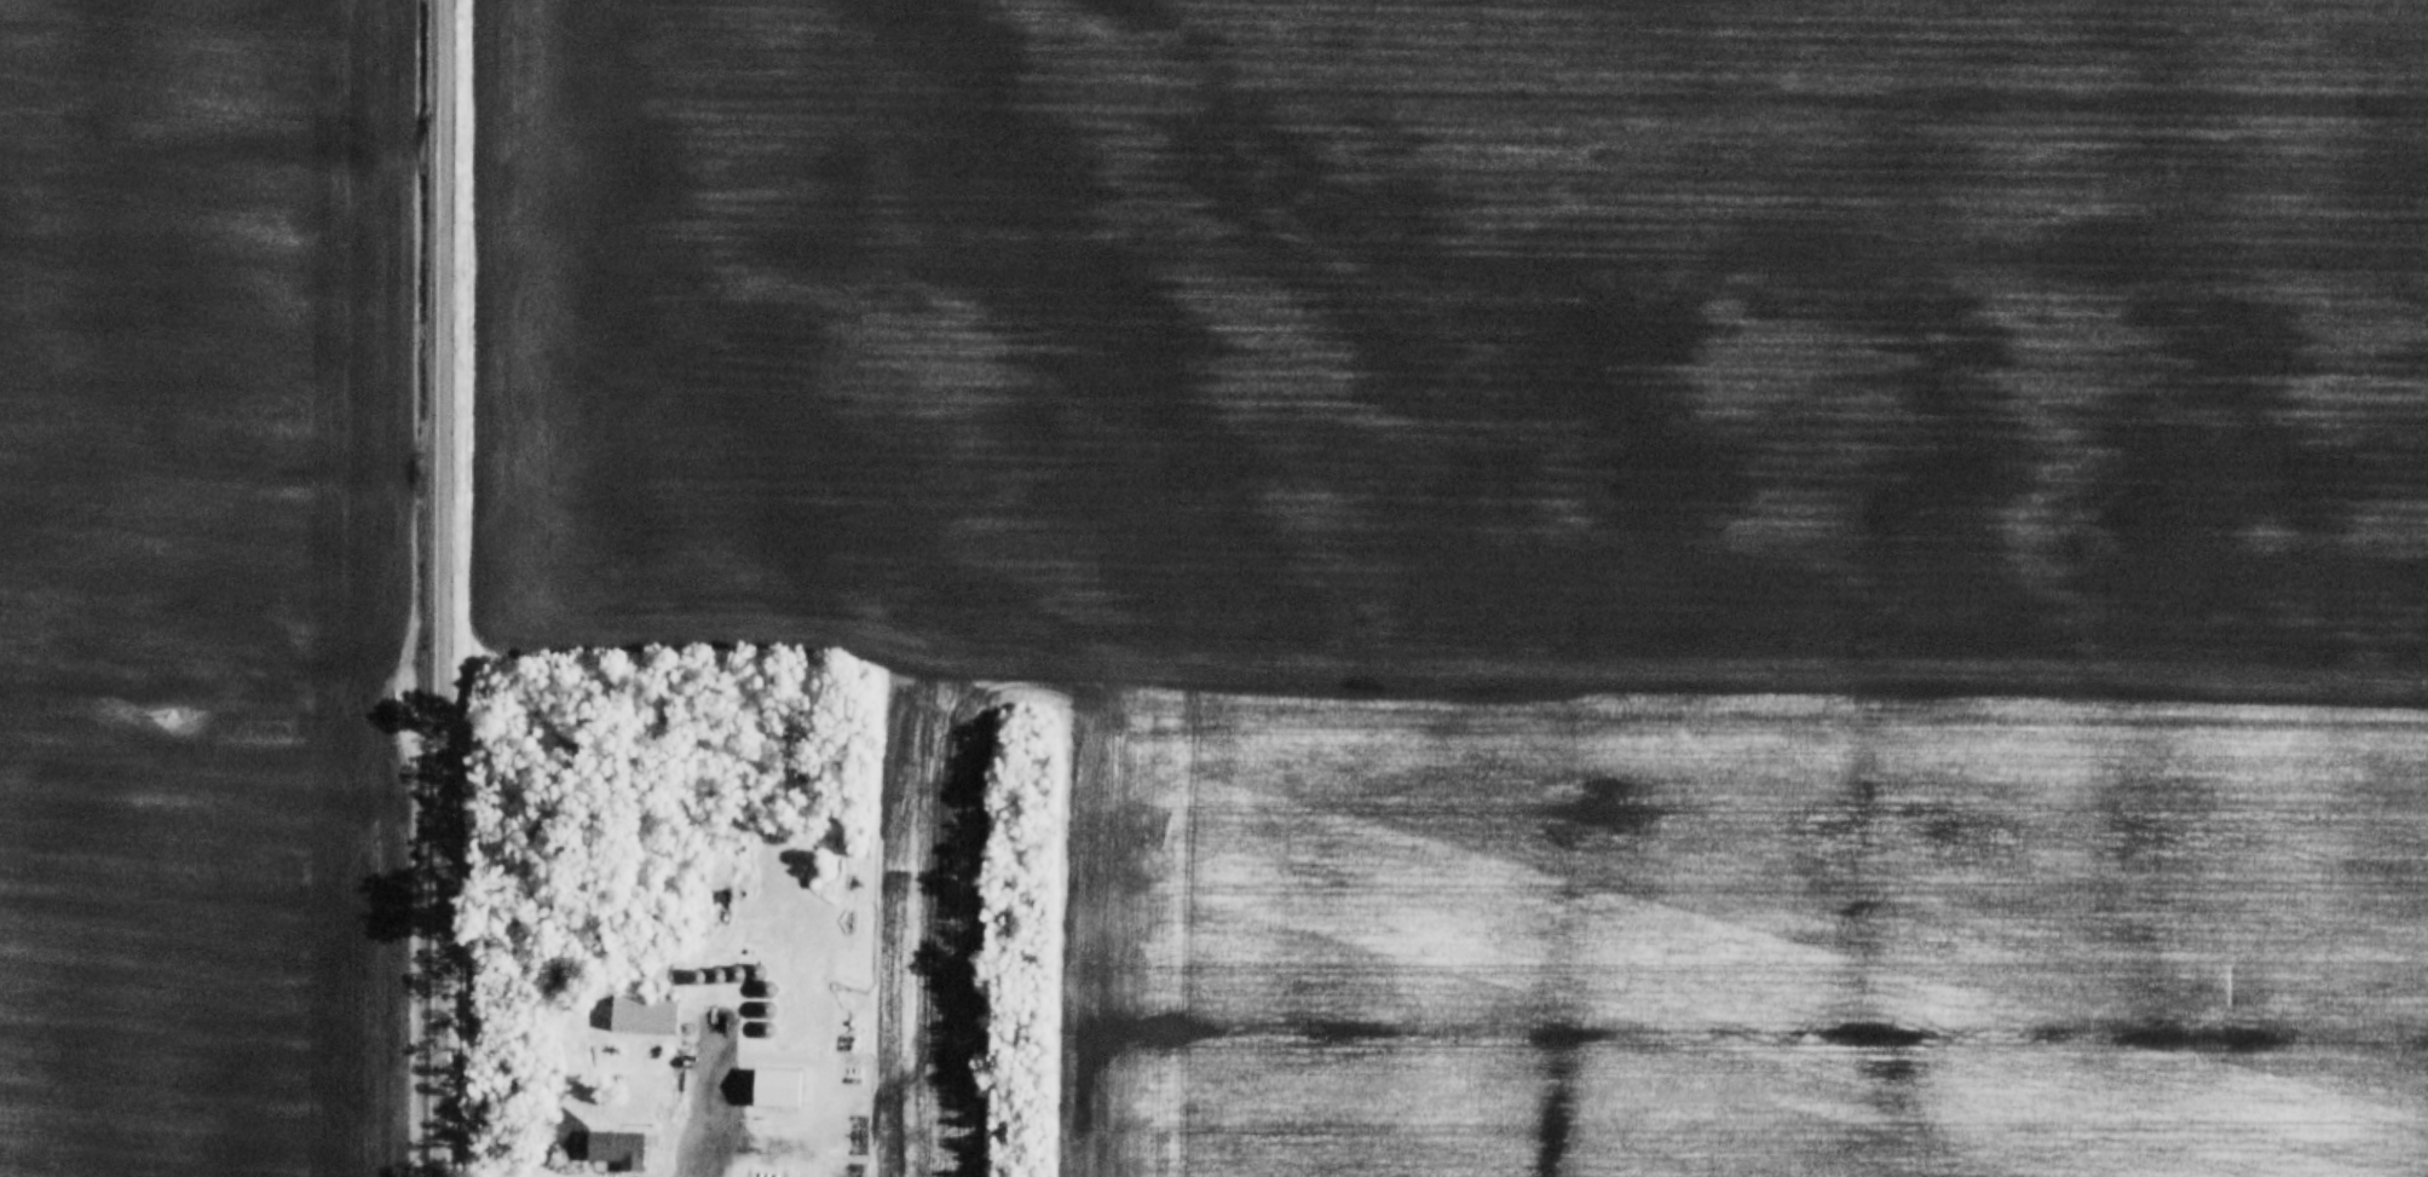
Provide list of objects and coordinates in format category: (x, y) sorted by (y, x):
road: (446, 588)
building: (636, 1010)
building: (771, 1083)
road: (714, 1092)
building: (610, 1146)

